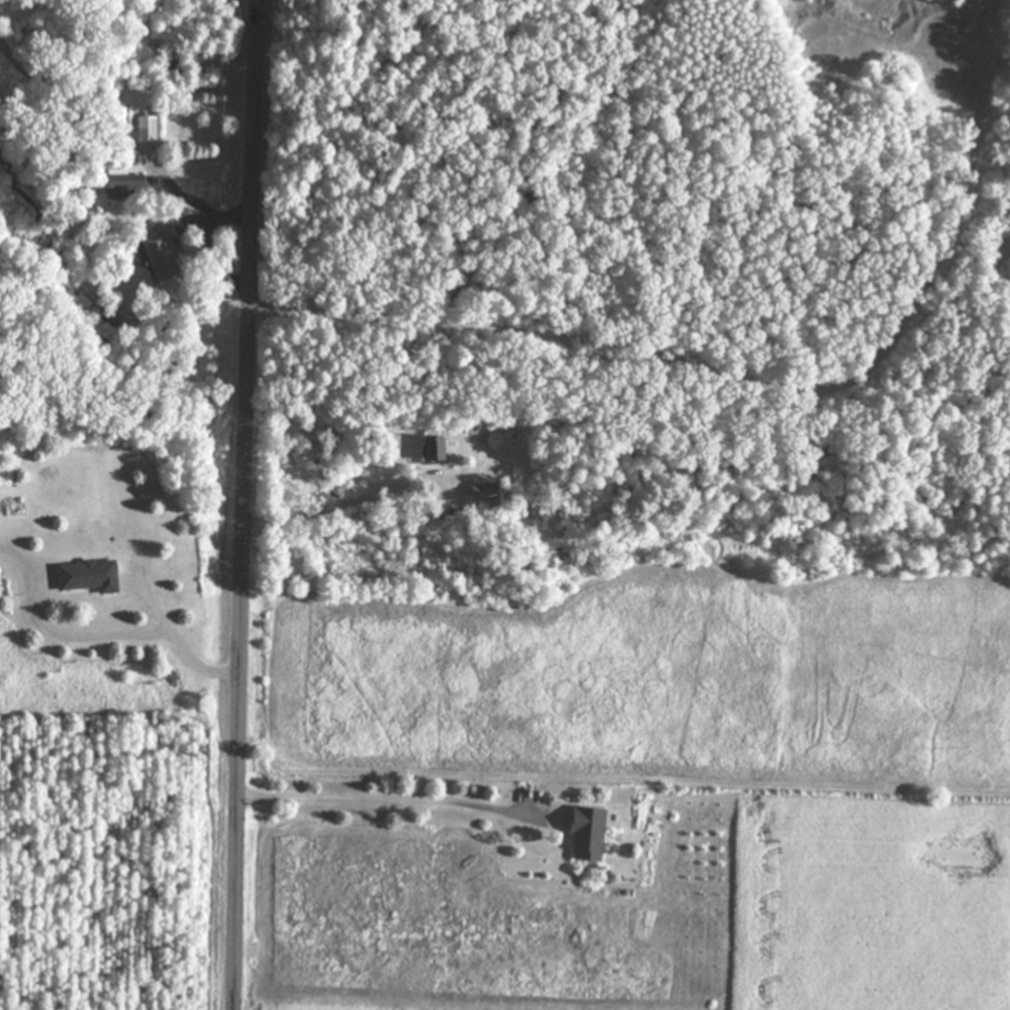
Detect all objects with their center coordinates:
building: (148, 128)
building: (128, 186)
road: (234, 216)
building: (163, 257)
building: (436, 449)
building: (488, 496)
road: (247, 504)
road: (332, 506)
building: (92, 576)
road: (61, 635)
road: (185, 642)
road: (389, 798)
building: (591, 834)

